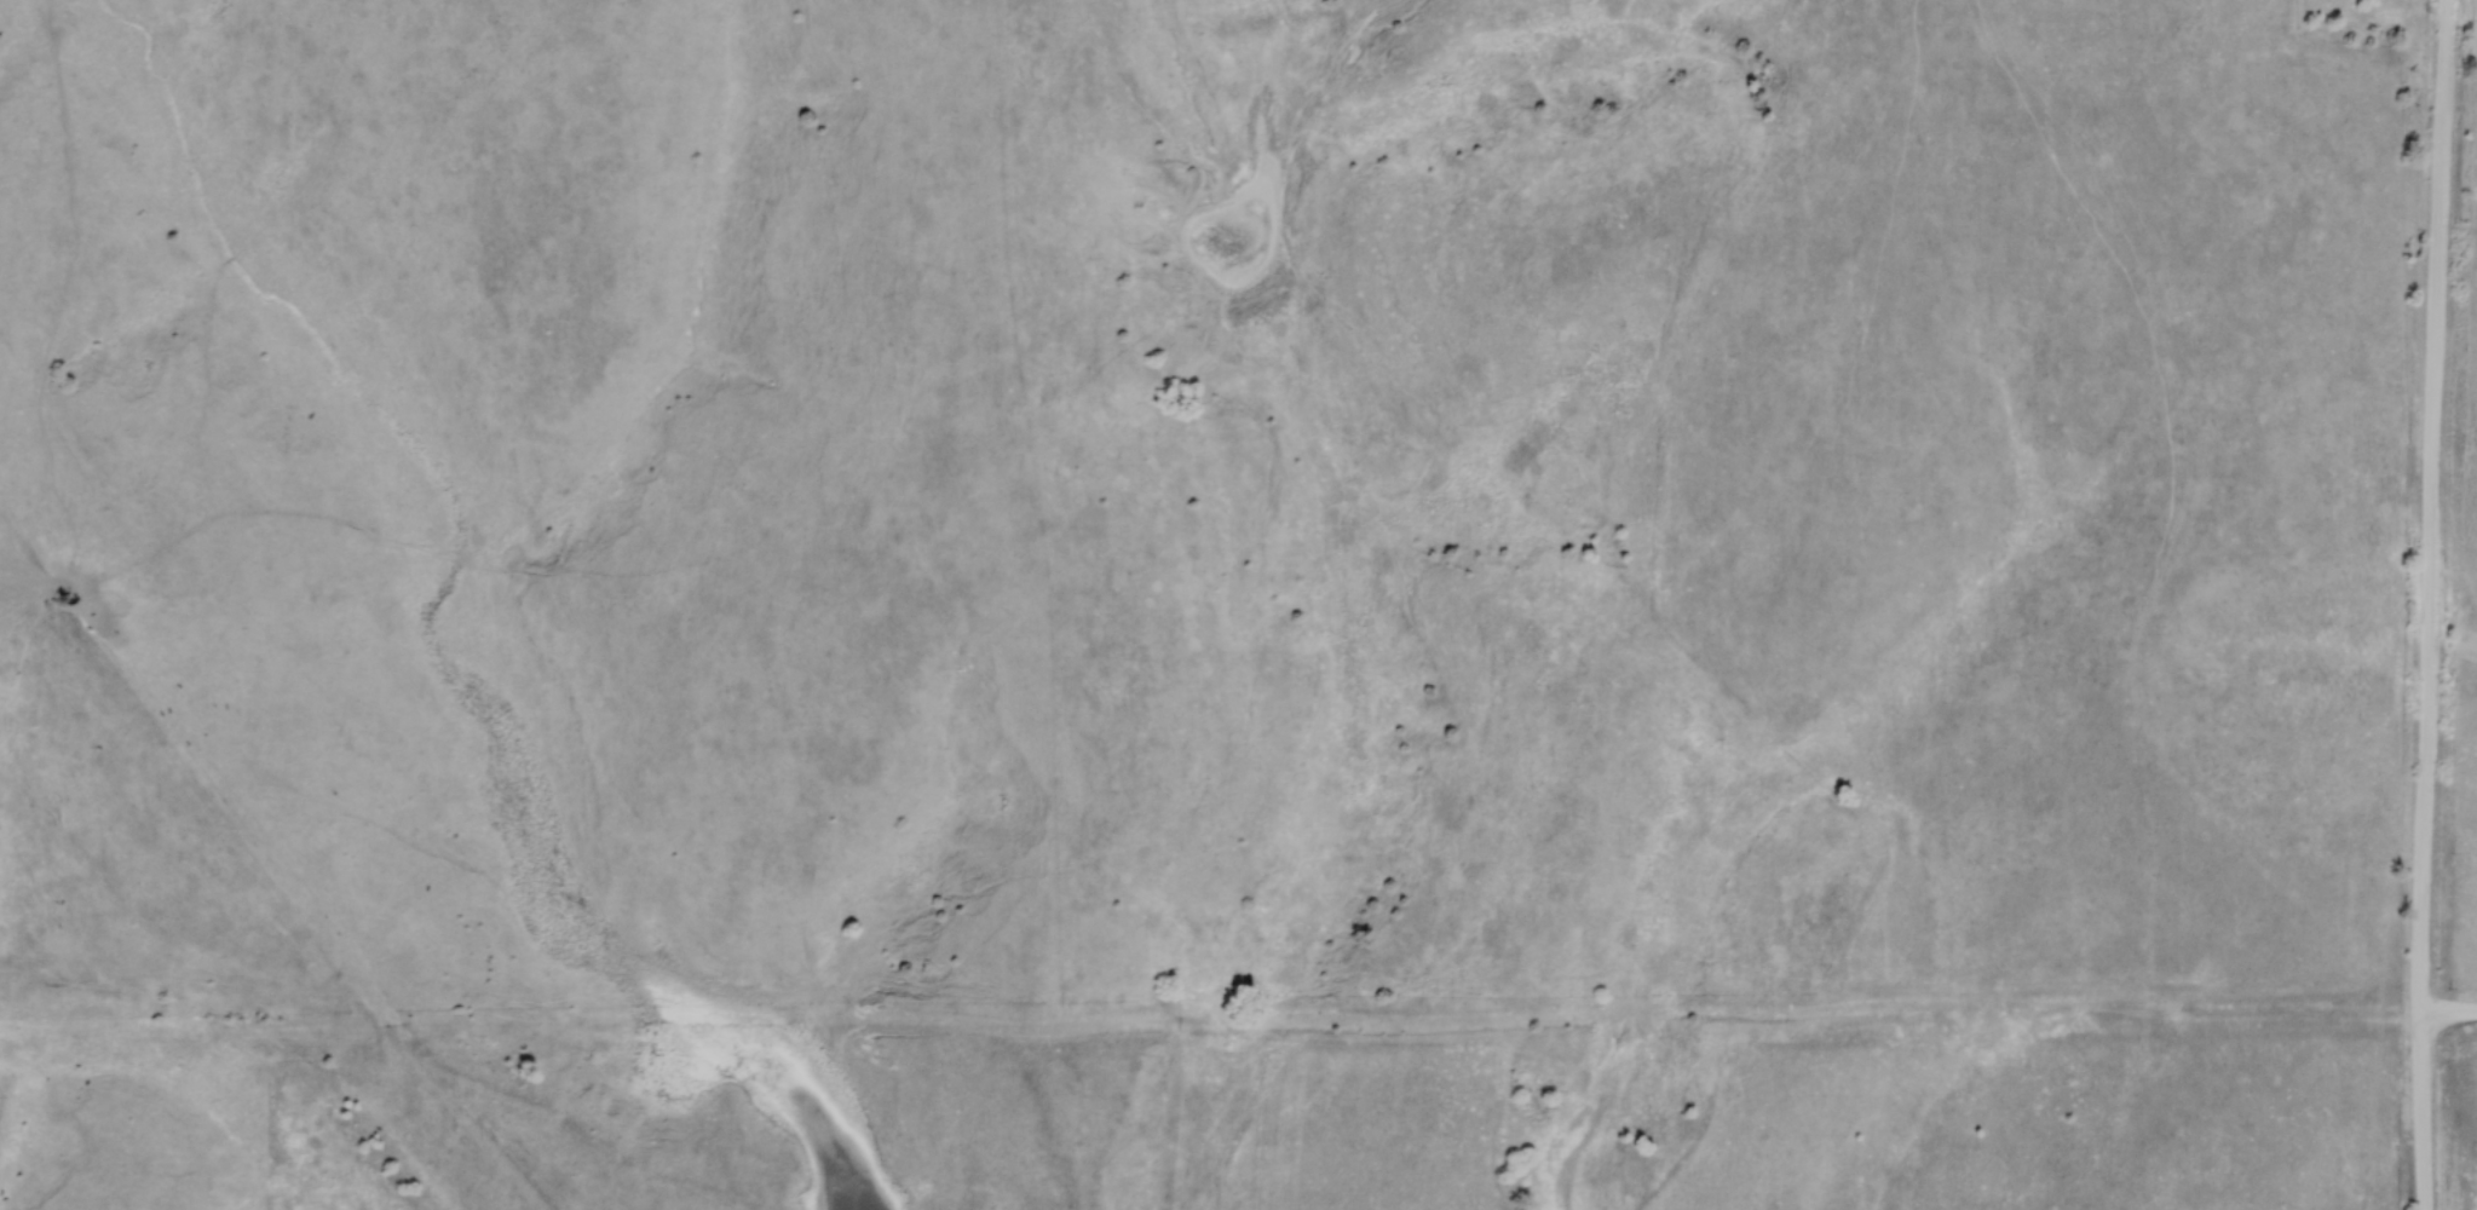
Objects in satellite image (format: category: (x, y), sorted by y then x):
road: (2429, 604)
road: (2450, 1013)

